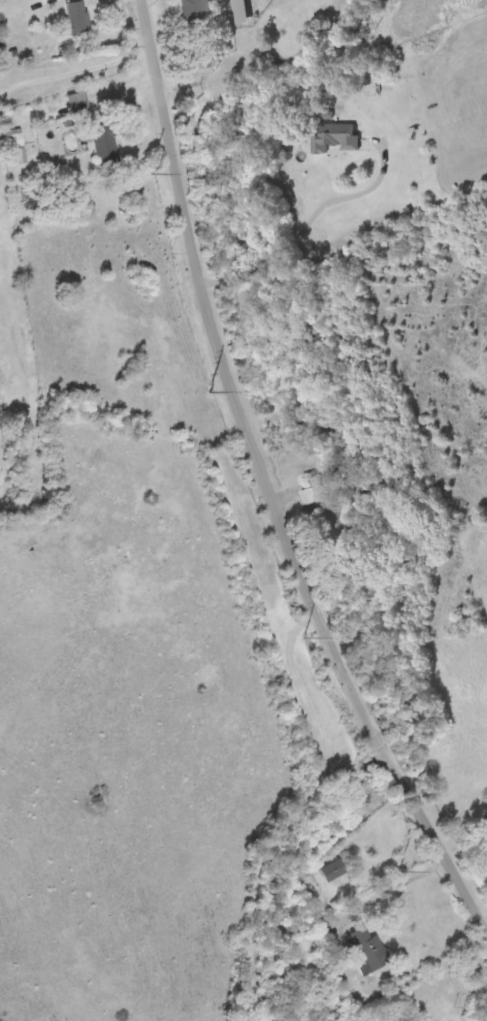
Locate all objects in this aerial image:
building: (192, 5)
building: (241, 11)
building: (77, 15)
building: (15, 136)
building: (334, 136)
building: (104, 142)
road: (274, 475)
building: (316, 488)
road: (193, 495)
building: (334, 517)
building: (333, 869)
building: (369, 950)

